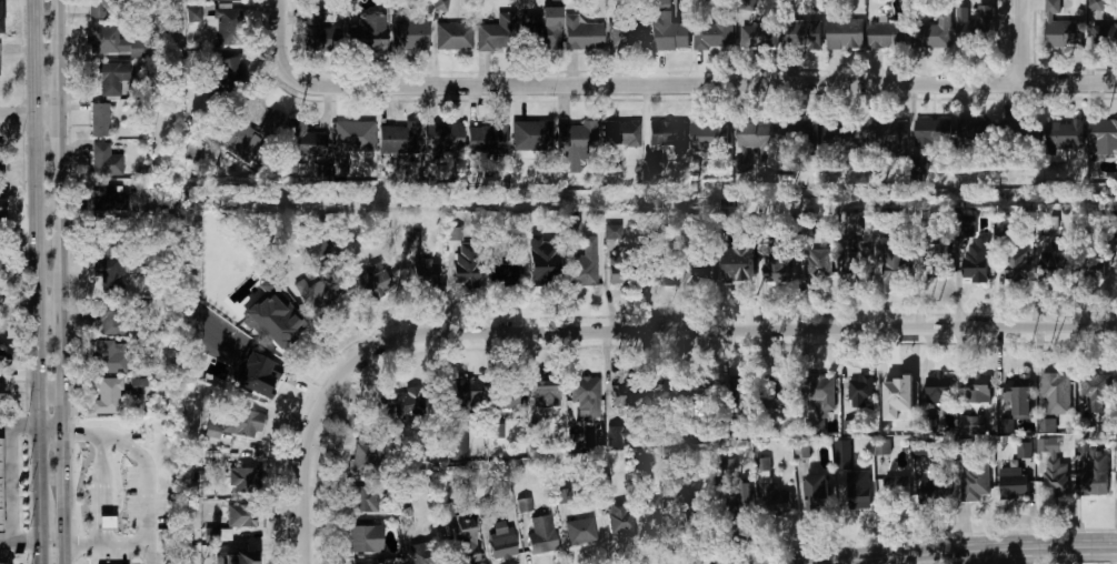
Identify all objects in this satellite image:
building: (441, 4)
building: (1097, 4)
building: (745, 6)
building: (1051, 8)
building: (97, 9)
building: (192, 13)
building: (0, 17)
building: (975, 24)
building: (226, 26)
building: (316, 32)
building: (538, 32)
building: (845, 33)
building: (933, 33)
building: (1063, 33)
building: (366, 34)
building: (409, 34)
building: (581, 34)
building: (669, 34)
building: (887, 34)
building: (1105, 34)
building: (453, 36)
building: (714, 36)
building: (805, 36)
building: (493, 37)
building: (628, 37)
building: (758, 37)
road: (280, 40)
road: (1023, 41)
building: (113, 42)
building: (0, 69)
building: (229, 71)
building: (109, 78)
road: (705, 83)
road: (7, 113)
road: (33, 113)
building: (99, 120)
building: (1009, 129)
building: (968, 130)
building: (1106, 132)
building: (620, 133)
building: (246, 135)
building: (530, 135)
building: (840, 135)
building: (928, 135)
building: (1064, 135)
building: (353, 137)
building: (398, 137)
building: (668, 137)
building: (707, 137)
building: (798, 137)
building: (756, 138)
building: (887, 138)
building: (441, 139)
building: (487, 139)
building: (576, 140)
building: (305, 141)
building: (1, 160)
building: (104, 160)
building: (654, 165)
building: (918, 165)
building: (2, 170)
building: (98, 195)
building: (2, 207)
building: (849, 220)
building: (572, 226)
building: (966, 226)
building: (1116, 228)
building: (614, 231)
building: (456, 233)
building: (412, 234)
building: (1004, 234)
building: (104, 239)
building: (315, 245)
road: (33, 248)
building: (350, 249)
building: (0, 258)
building: (895, 262)
building: (935, 262)
building: (539, 263)
building: (856, 264)
building: (466, 265)
building: (1091, 265)
building: (1014, 268)
building: (739, 269)
building: (974, 269)
building: (778, 270)
building: (810, 270)
building: (582, 271)
building: (699, 272)
building: (1055, 272)
building: (108, 273)
building: (426, 273)
building: (503, 273)
building: (621, 273)
building: (661, 273)
road: (54, 282)
building: (376, 284)
building: (320, 292)
road: (7, 309)
road: (34, 309)
building: (107, 316)
building: (277, 324)
road: (731, 328)
building: (1, 355)
building: (111, 356)
building: (257, 375)
building: (139, 386)
building: (977, 386)
building: (1093, 387)
building: (664, 389)
building: (938, 389)
building: (467, 390)
building: (697, 390)
building: (740, 390)
building: (860, 391)
building: (898, 391)
building: (584, 392)
building: (0, 393)
building: (780, 393)
building: (819, 393)
building: (1055, 393)
building: (106, 394)
building: (507, 394)
building: (545, 395)
building: (1019, 396)
building: (625, 401)
building: (400, 404)
building: (233, 423)
building: (973, 425)
building: (1006, 425)
building: (1048, 425)
building: (849, 426)
road: (19, 429)
road: (49, 431)
building: (497, 431)
building: (617, 435)
building: (460, 437)
building: (577, 440)
building: (964, 445)
building: (1083, 445)
building: (1056, 446)
building: (842, 447)
building: (880, 447)
building: (1025, 450)
building: (802, 451)
building: (1116, 454)
road: (307, 456)
building: (366, 459)
building: (764, 464)
building: (726, 465)
road: (144, 466)
building: (642, 469)
building: (1056, 477)
building: (246, 479)
building: (1096, 479)
building: (975, 481)
building: (1014, 484)
road: (8, 487)
building: (934, 487)
road: (100, 489)
building: (896, 489)
building: (858, 492)
building: (816, 493)
road: (109, 500)
building: (365, 500)
road: (94, 501)
building: (776, 501)
building: (0, 502)
gas station: (0, 502)
building: (739, 503)
building: (525, 504)
building: (694, 505)
building: (446, 510)
building: (659, 514)
building: (241, 515)
building: (619, 517)
building: (107, 523)
road: (37, 528)
building: (580, 531)
building: (540, 533)
building: (219, 534)
road: (22, 538)
building: (365, 538)
road: (104, 542)
building: (502, 545)
building: (465, 546)
road: (963, 552)
building: (421, 556)
building: (245, 560)
building: (370, 563)

